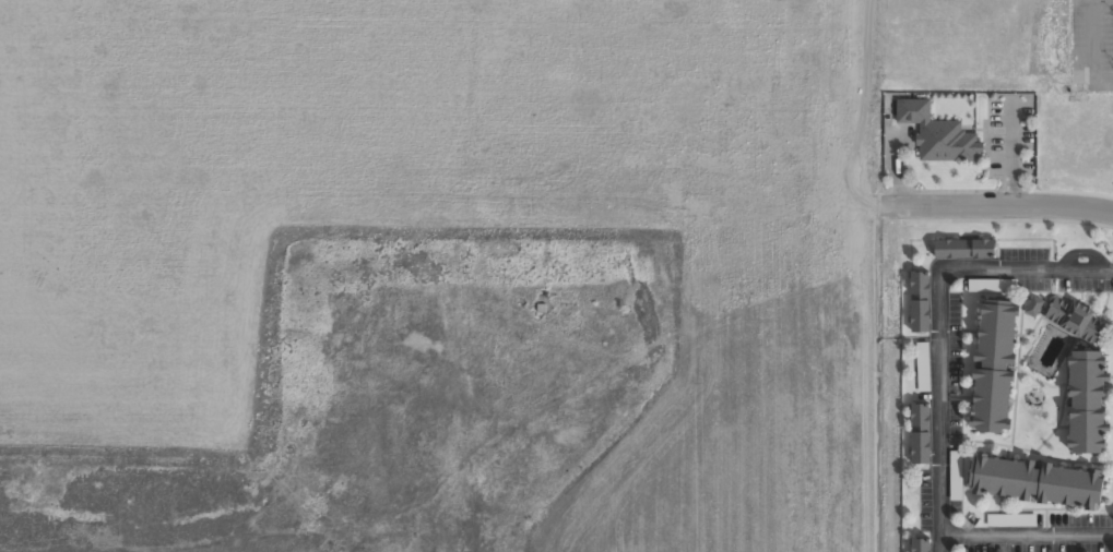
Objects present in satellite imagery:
building: (933, 133)
road: (1000, 205)
building: (964, 249)
building: (992, 285)
building: (920, 301)
building: (1033, 305)
building: (1074, 317)
road: (937, 323)
building: (922, 367)
building: (993, 367)
building: (1087, 401)
building: (920, 433)
building: (955, 475)
building: (1035, 481)
building: (1010, 519)
road: (1026, 533)
building: (920, 544)

